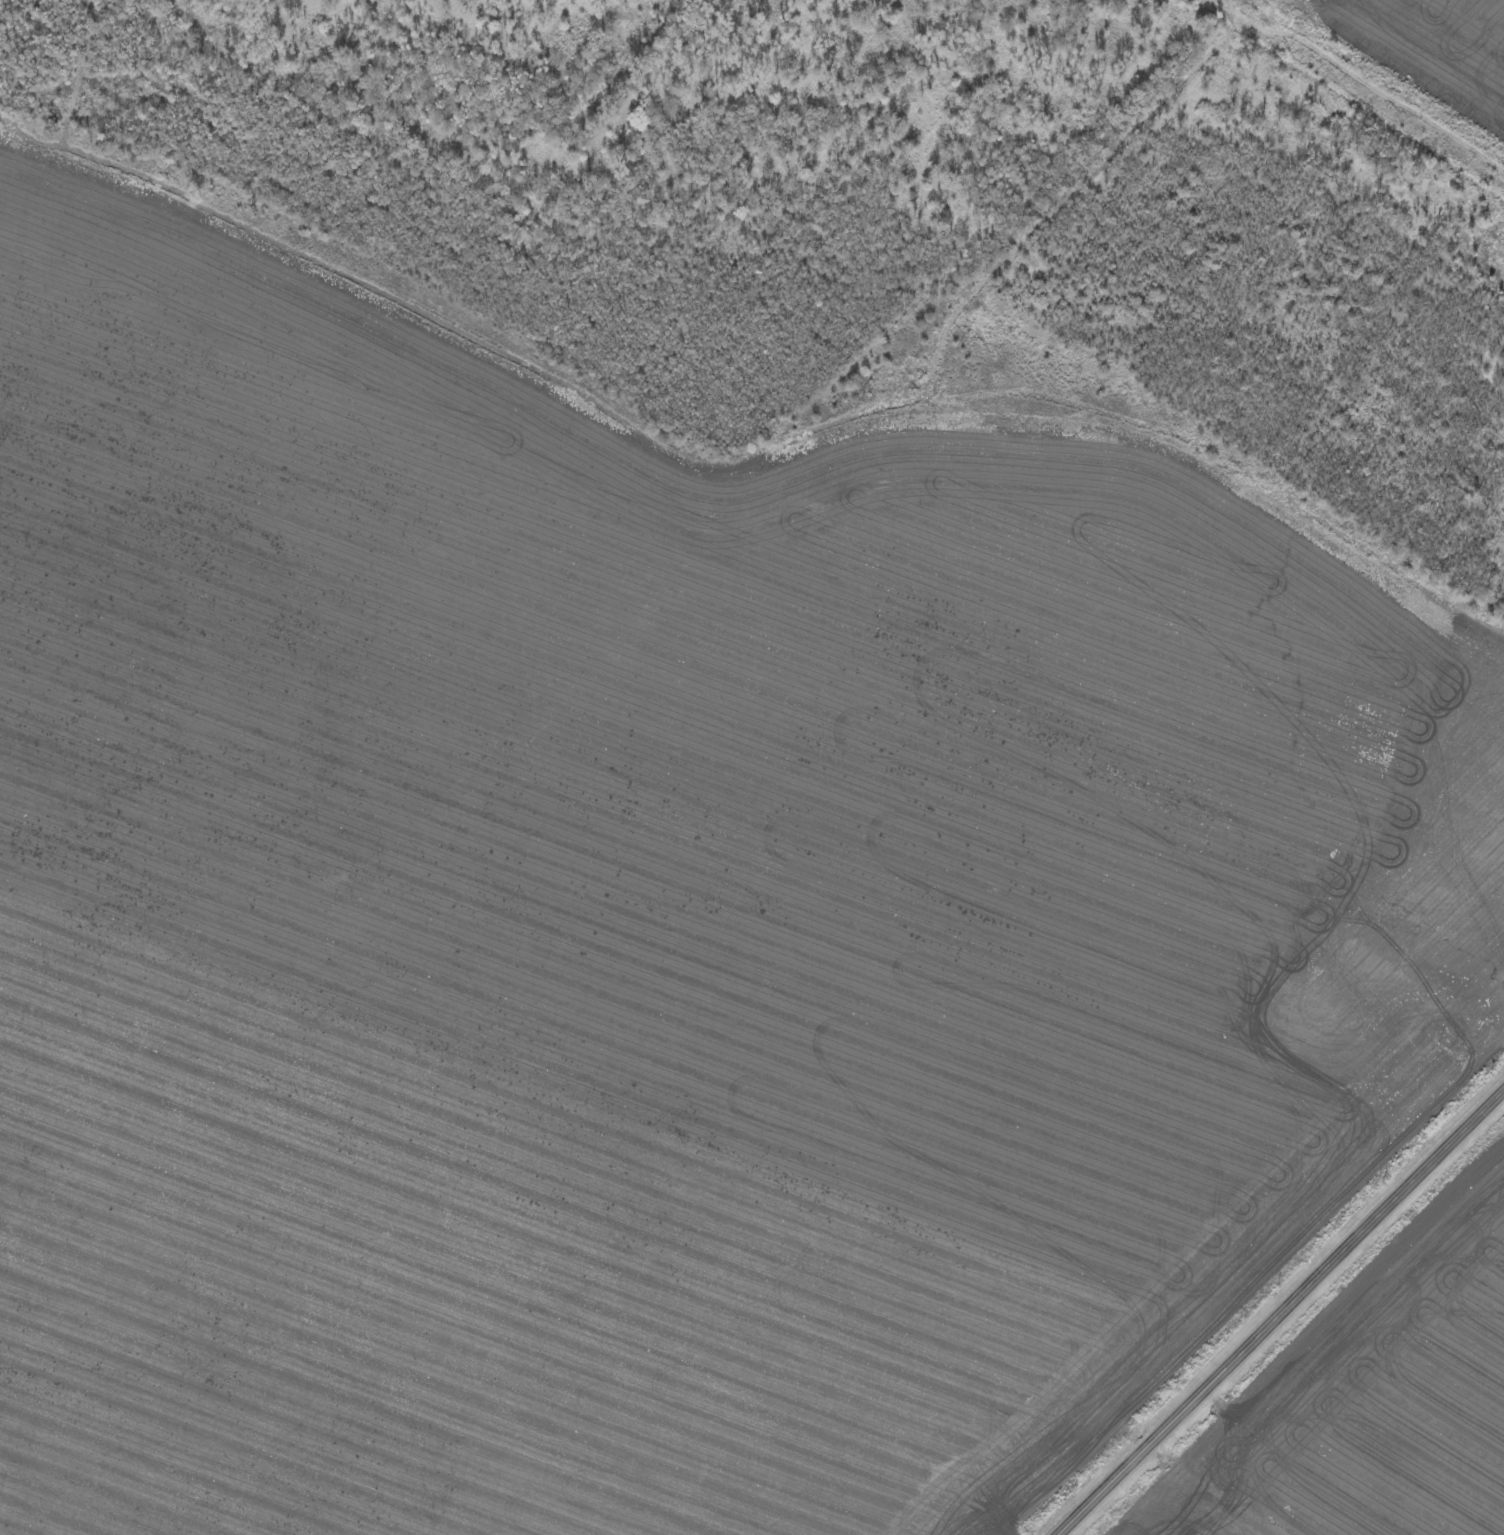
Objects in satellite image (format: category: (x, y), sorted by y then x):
crop: (1416, 55)
road: (1363, 87)
road: (1282, 1314)

